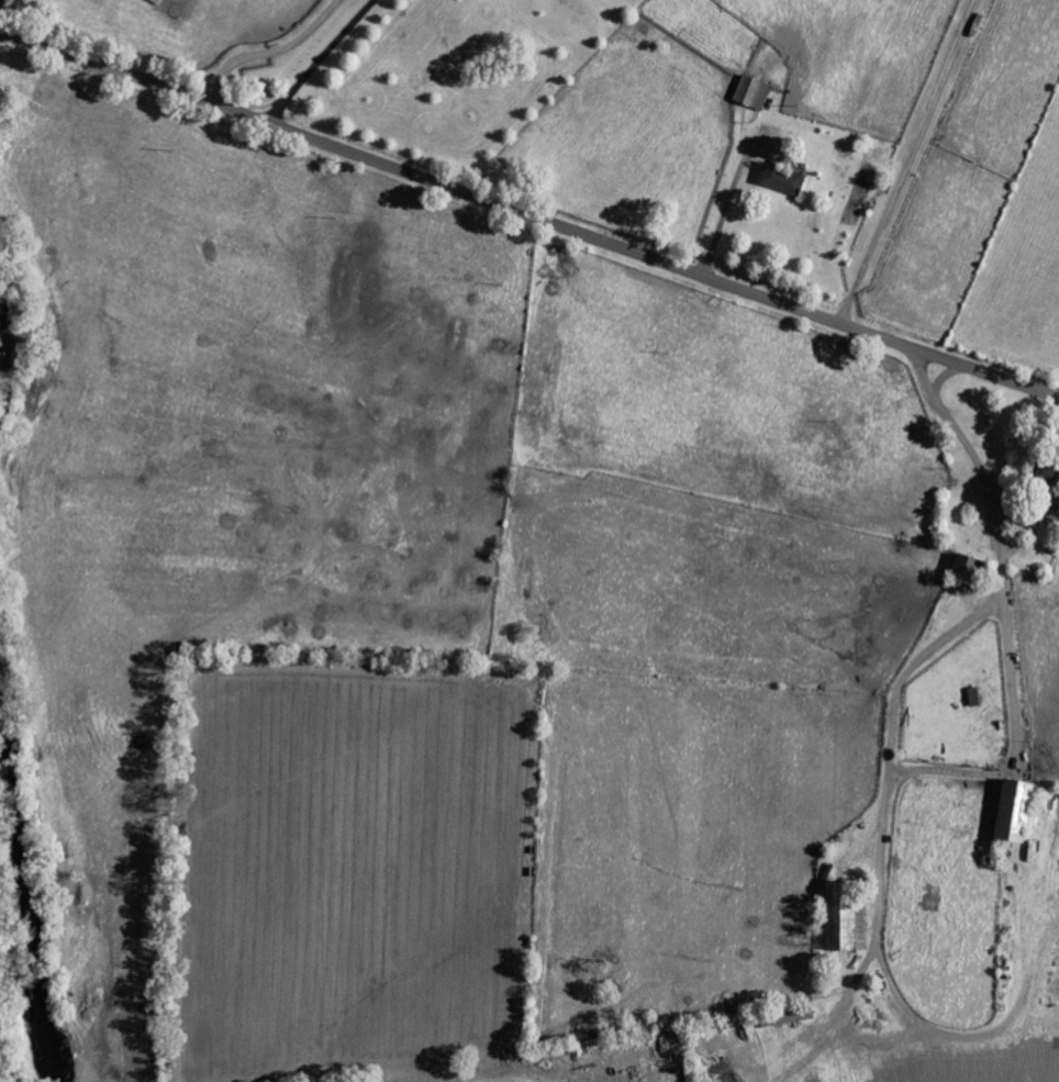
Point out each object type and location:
road: (270, 53)
road: (320, 62)
building: (755, 91)
road: (905, 163)
building: (785, 179)
road: (723, 217)
road: (528, 219)
road: (997, 542)
road: (889, 744)
building: (1008, 813)
building: (843, 927)

